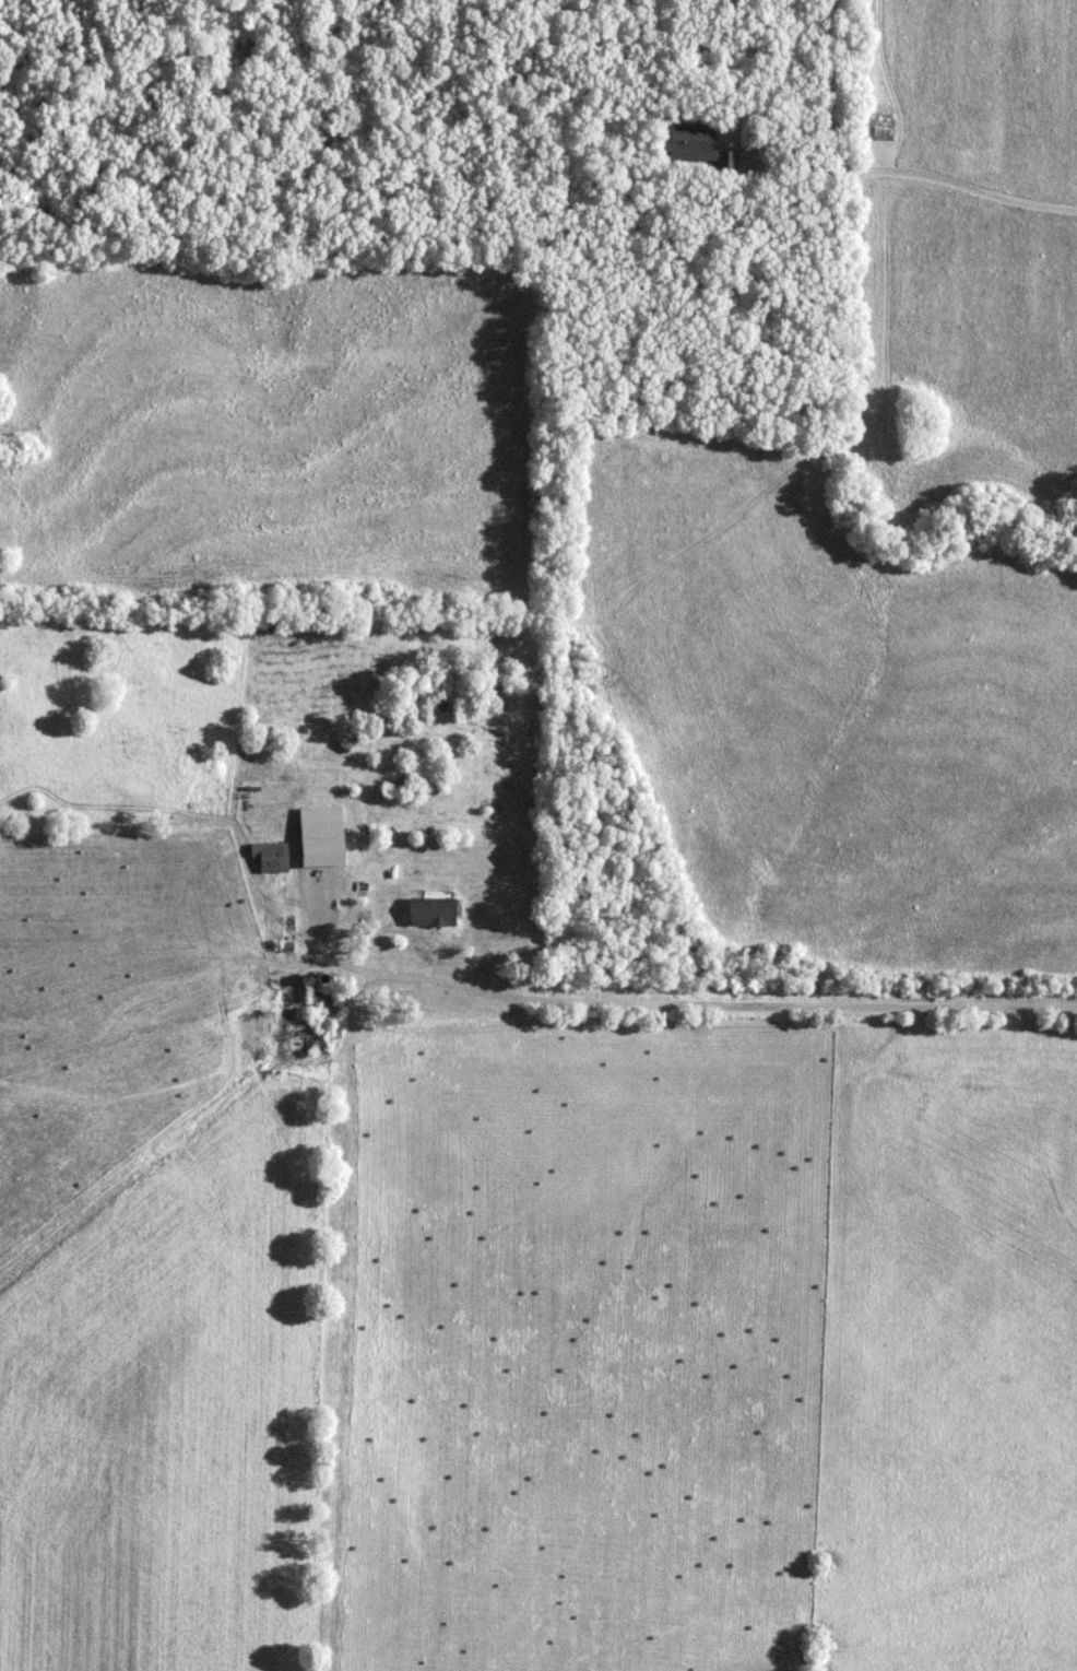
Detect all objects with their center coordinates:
road: (765, 114)
building: (705, 140)
building: (736, 162)
road: (961, 178)
crop: (832, 710)
building: (273, 857)
building: (441, 908)
road: (721, 1001)

